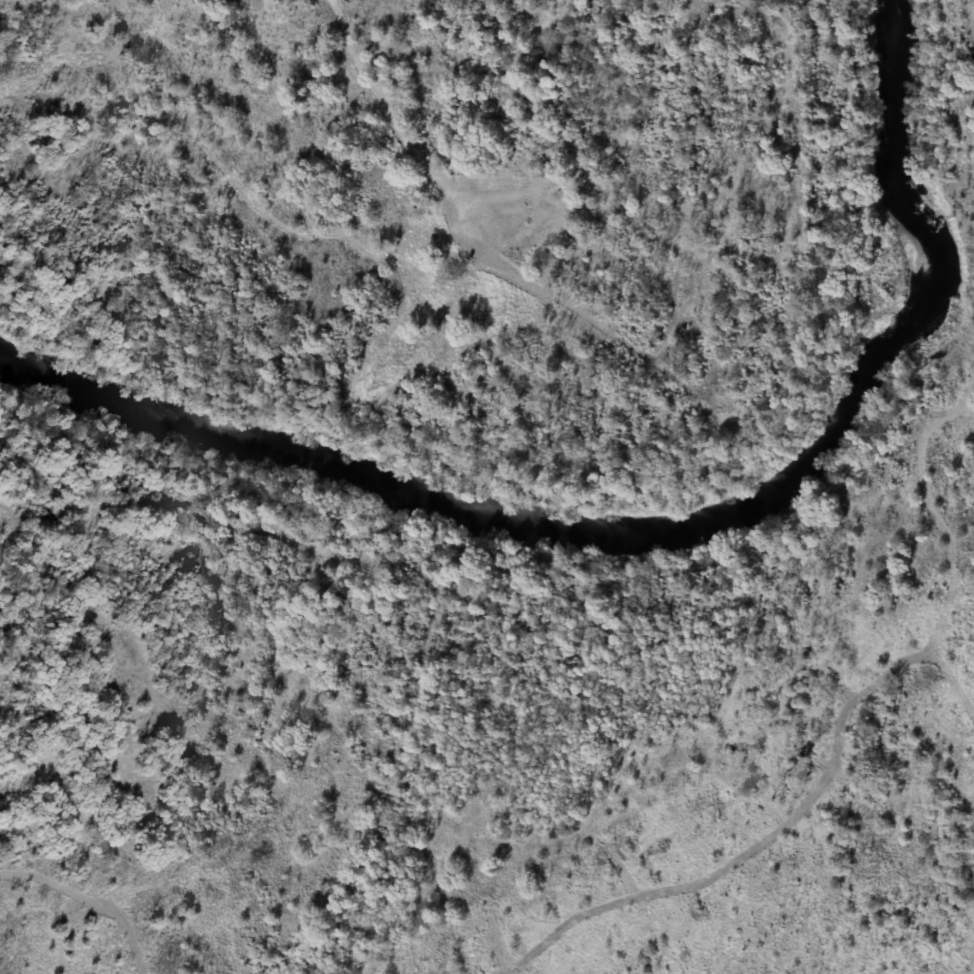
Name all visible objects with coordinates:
river: (643, 514)

